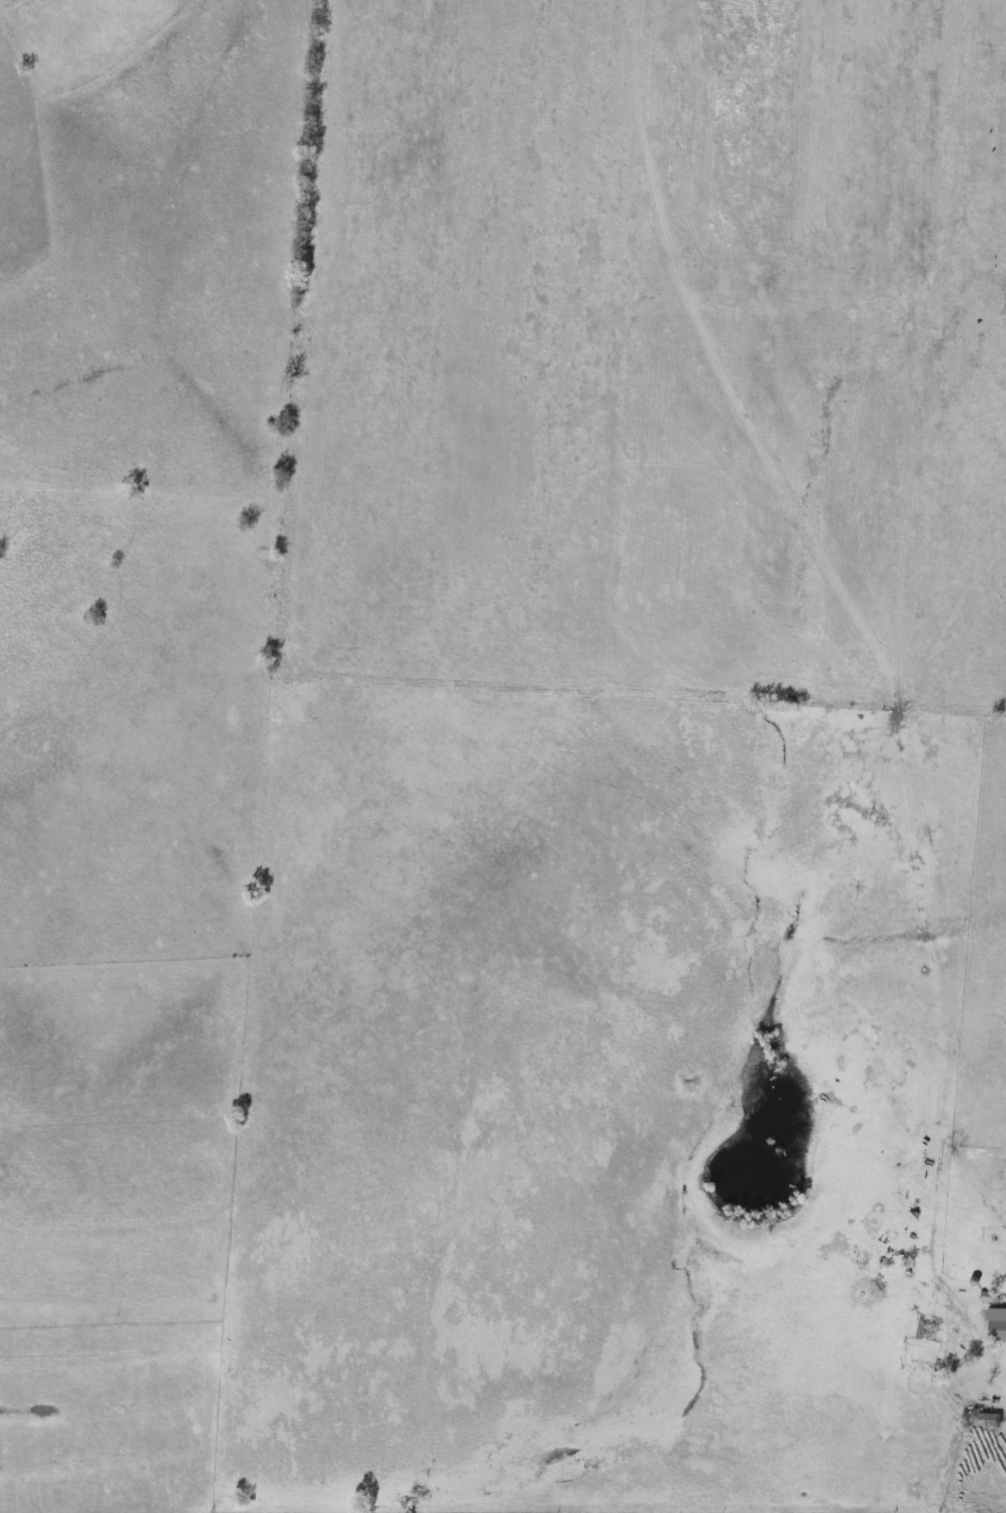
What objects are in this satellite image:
building: (927, 1328)
building: (995, 1330)
road: (1001, 1366)

